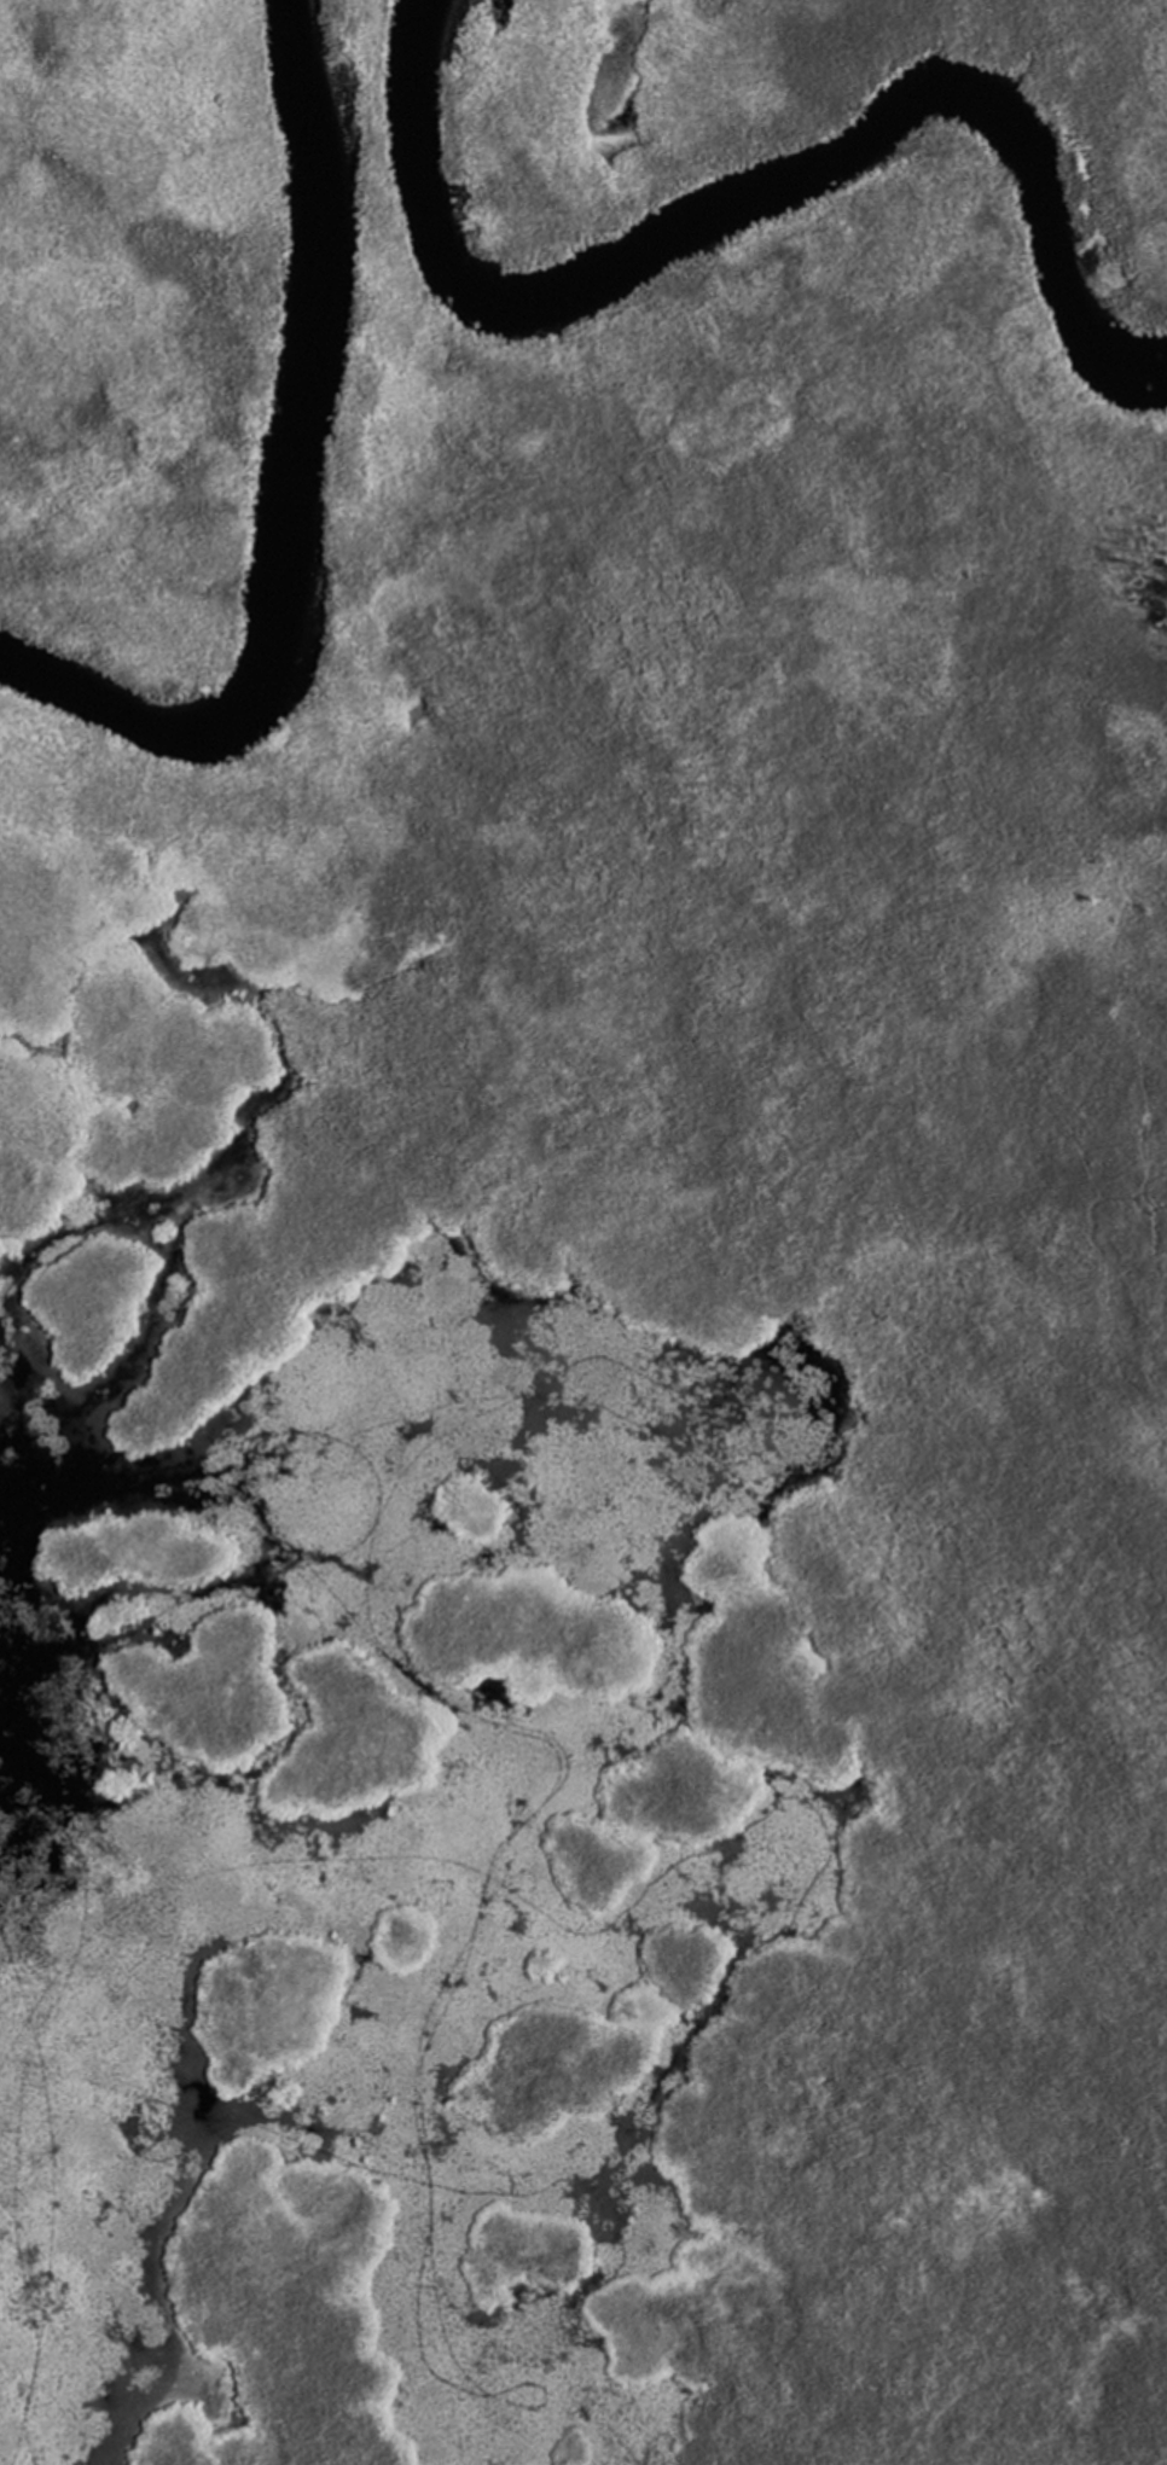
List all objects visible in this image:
river: (749, 188)
river: (283, 479)

